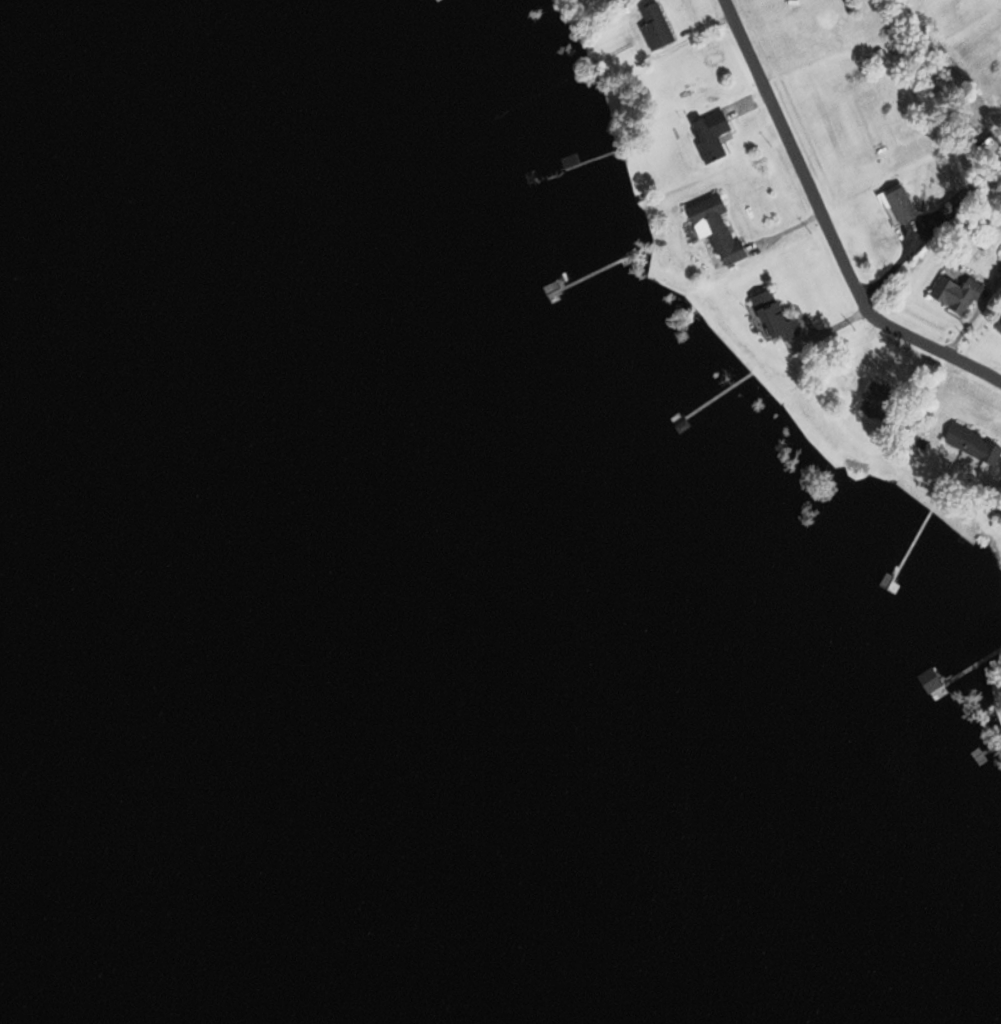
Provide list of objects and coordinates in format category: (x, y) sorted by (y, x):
building: (654, 26)
building: (708, 135)
building: (896, 204)
road: (820, 227)
building: (714, 229)
building: (954, 294)
building: (770, 317)
building: (997, 324)
building: (874, 394)
building: (970, 444)

